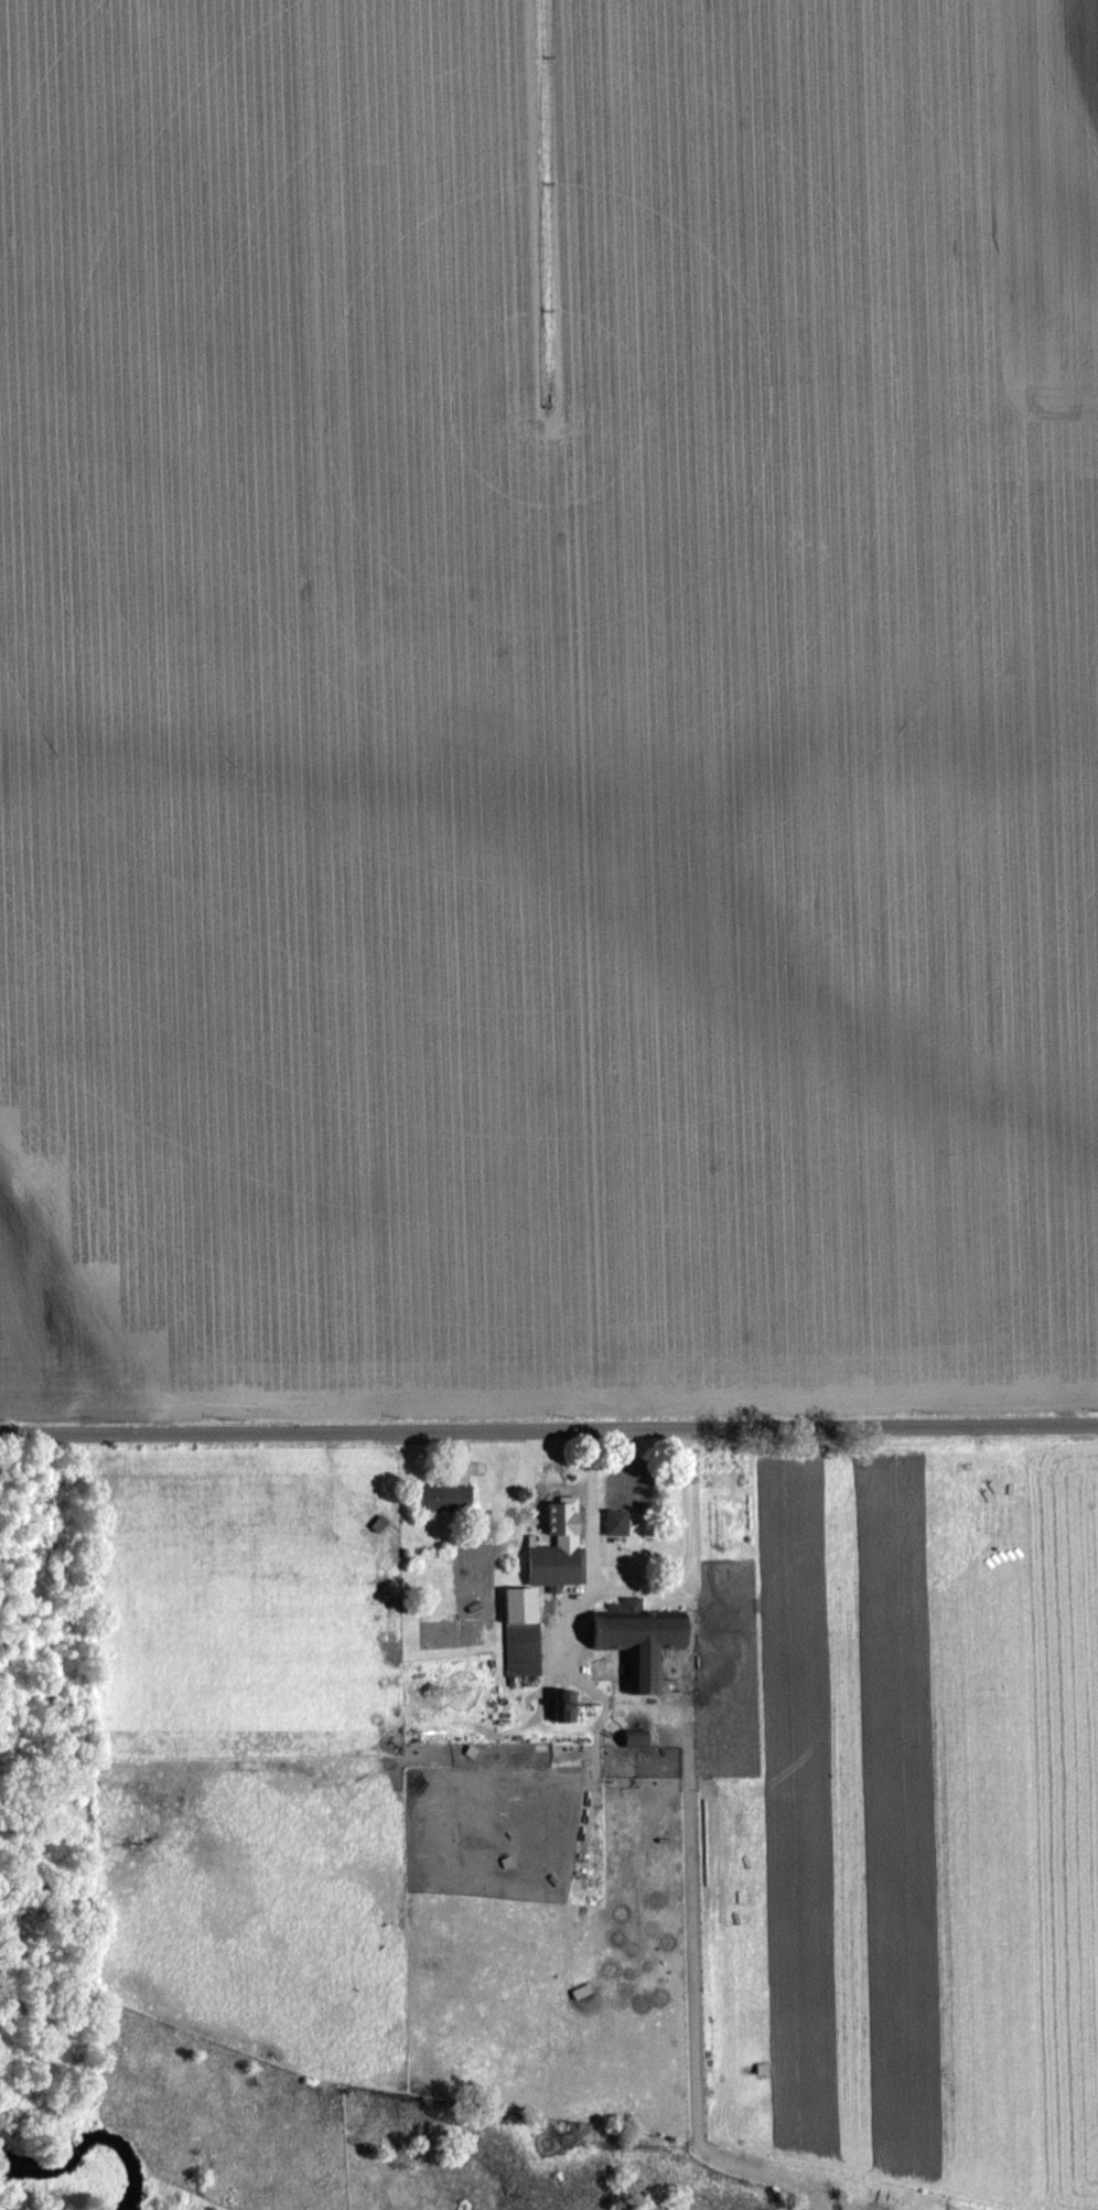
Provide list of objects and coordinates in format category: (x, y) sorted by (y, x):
road: (548, 1425)
building: (438, 1498)
road: (594, 1505)
building: (622, 1505)
building: (552, 1565)
road: (678, 1577)
building: (629, 1602)
building: (515, 1629)
building: (634, 1643)
building: (559, 1705)
building: (631, 1738)
building: (614, 1841)

